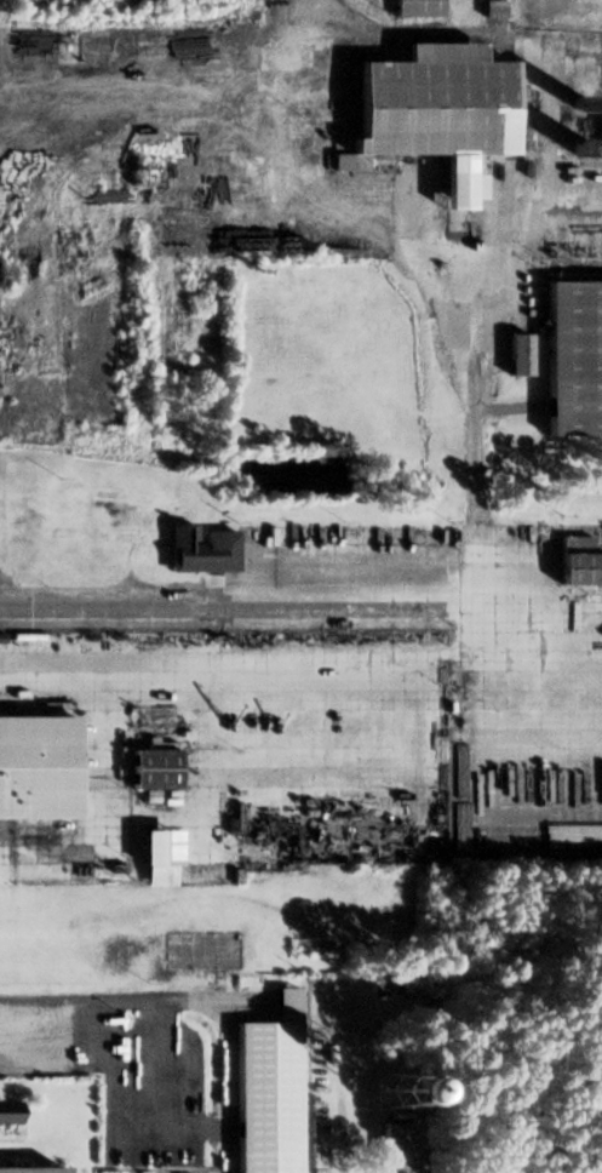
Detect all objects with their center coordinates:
building: (415, 7)
building: (432, 102)
building: (142, 173)
building: (453, 277)
building: (517, 354)
building: (573, 357)
building: (201, 549)
building: (578, 562)
building: (451, 574)
road: (472, 600)
building: (36, 767)
building: (151, 769)
road: (93, 1000)
building: (286, 1088)
building: (159, 1095)
building: (377, 1095)
building: (7, 1112)
building: (395, 1146)
building: (27, 1171)

